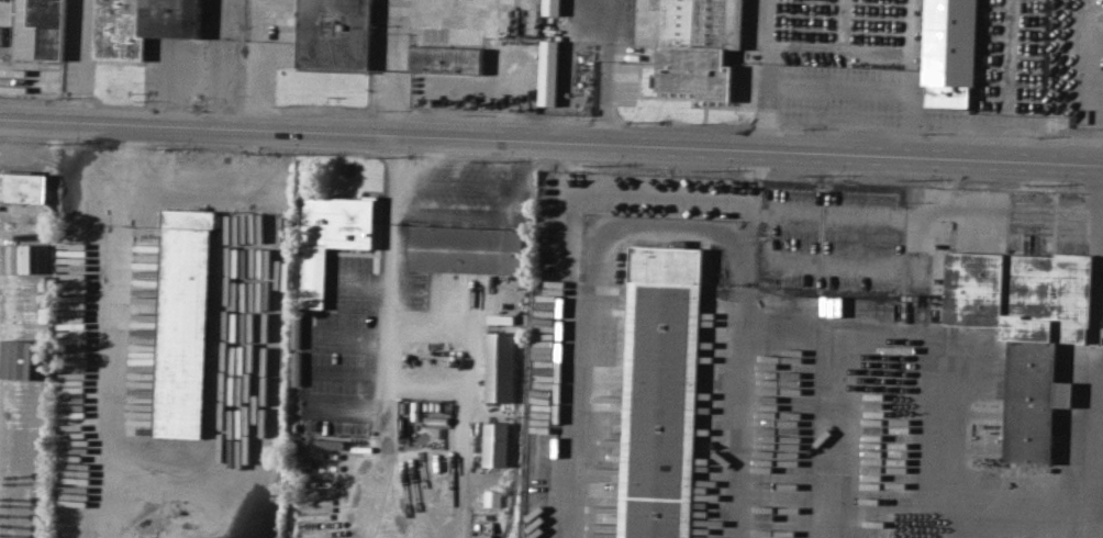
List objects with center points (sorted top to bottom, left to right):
building: (551, 7)
road: (215, 18)
building: (142, 24)
building: (40, 29)
building: (5, 32)
building: (335, 33)
building: (692, 43)
building: (950, 51)
building: (446, 58)
road: (80, 63)
road: (256, 67)
road: (392, 69)
building: (549, 71)
road: (606, 72)
road: (214, 83)
road: (834, 87)
road: (551, 145)
road: (399, 179)
building: (23, 184)
road: (459, 184)
road: (751, 199)
road: (996, 209)
road: (845, 213)
road: (491, 215)
road: (665, 228)
building: (331, 237)
building: (469, 248)
building: (183, 323)
building: (1026, 330)
building: (29, 362)
building: (500, 366)
road: (389, 385)
building: (661, 391)
building: (33, 426)
road: (1099, 441)
building: (497, 442)
building: (493, 496)

